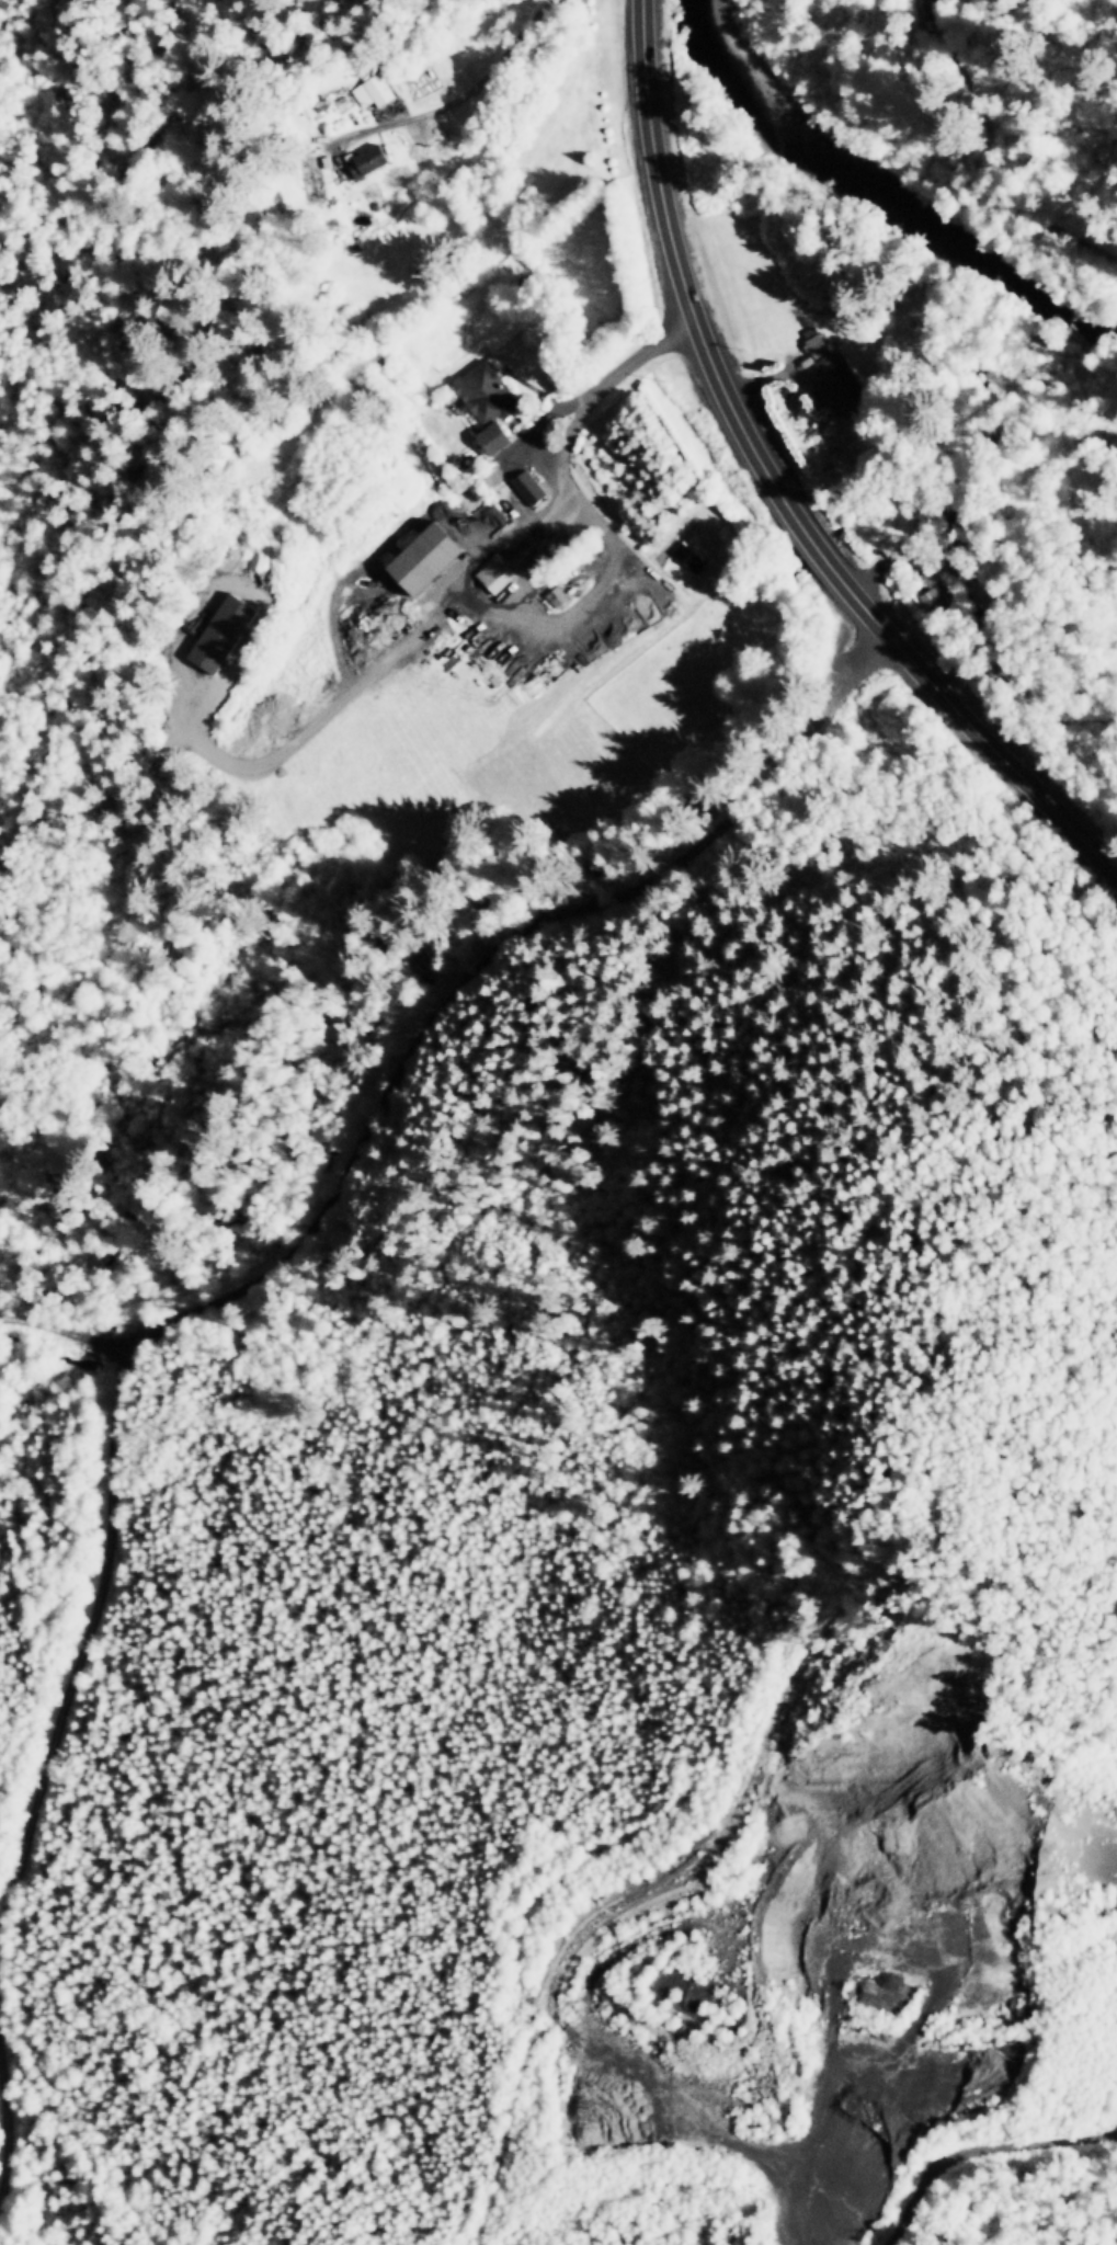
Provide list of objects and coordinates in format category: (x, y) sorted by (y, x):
road: (939, 30)
building: (372, 89)
road: (454, 102)
building: (364, 158)
road: (992, 190)
river: (881, 192)
road: (683, 275)
building: (814, 340)
building: (839, 388)
building: (486, 401)
road: (562, 458)
building: (679, 548)
road: (819, 549)
building: (423, 557)
building: (493, 572)
building: (555, 594)
building: (932, 597)
building: (220, 631)
road: (976, 728)
road: (434, 1004)
road: (80, 1633)
road: (629, 1942)
quarry: (803, 1987)
road: (865, 2084)
road: (518, 2095)
road: (9, 2122)
road: (980, 2149)
road: (96, 2179)

